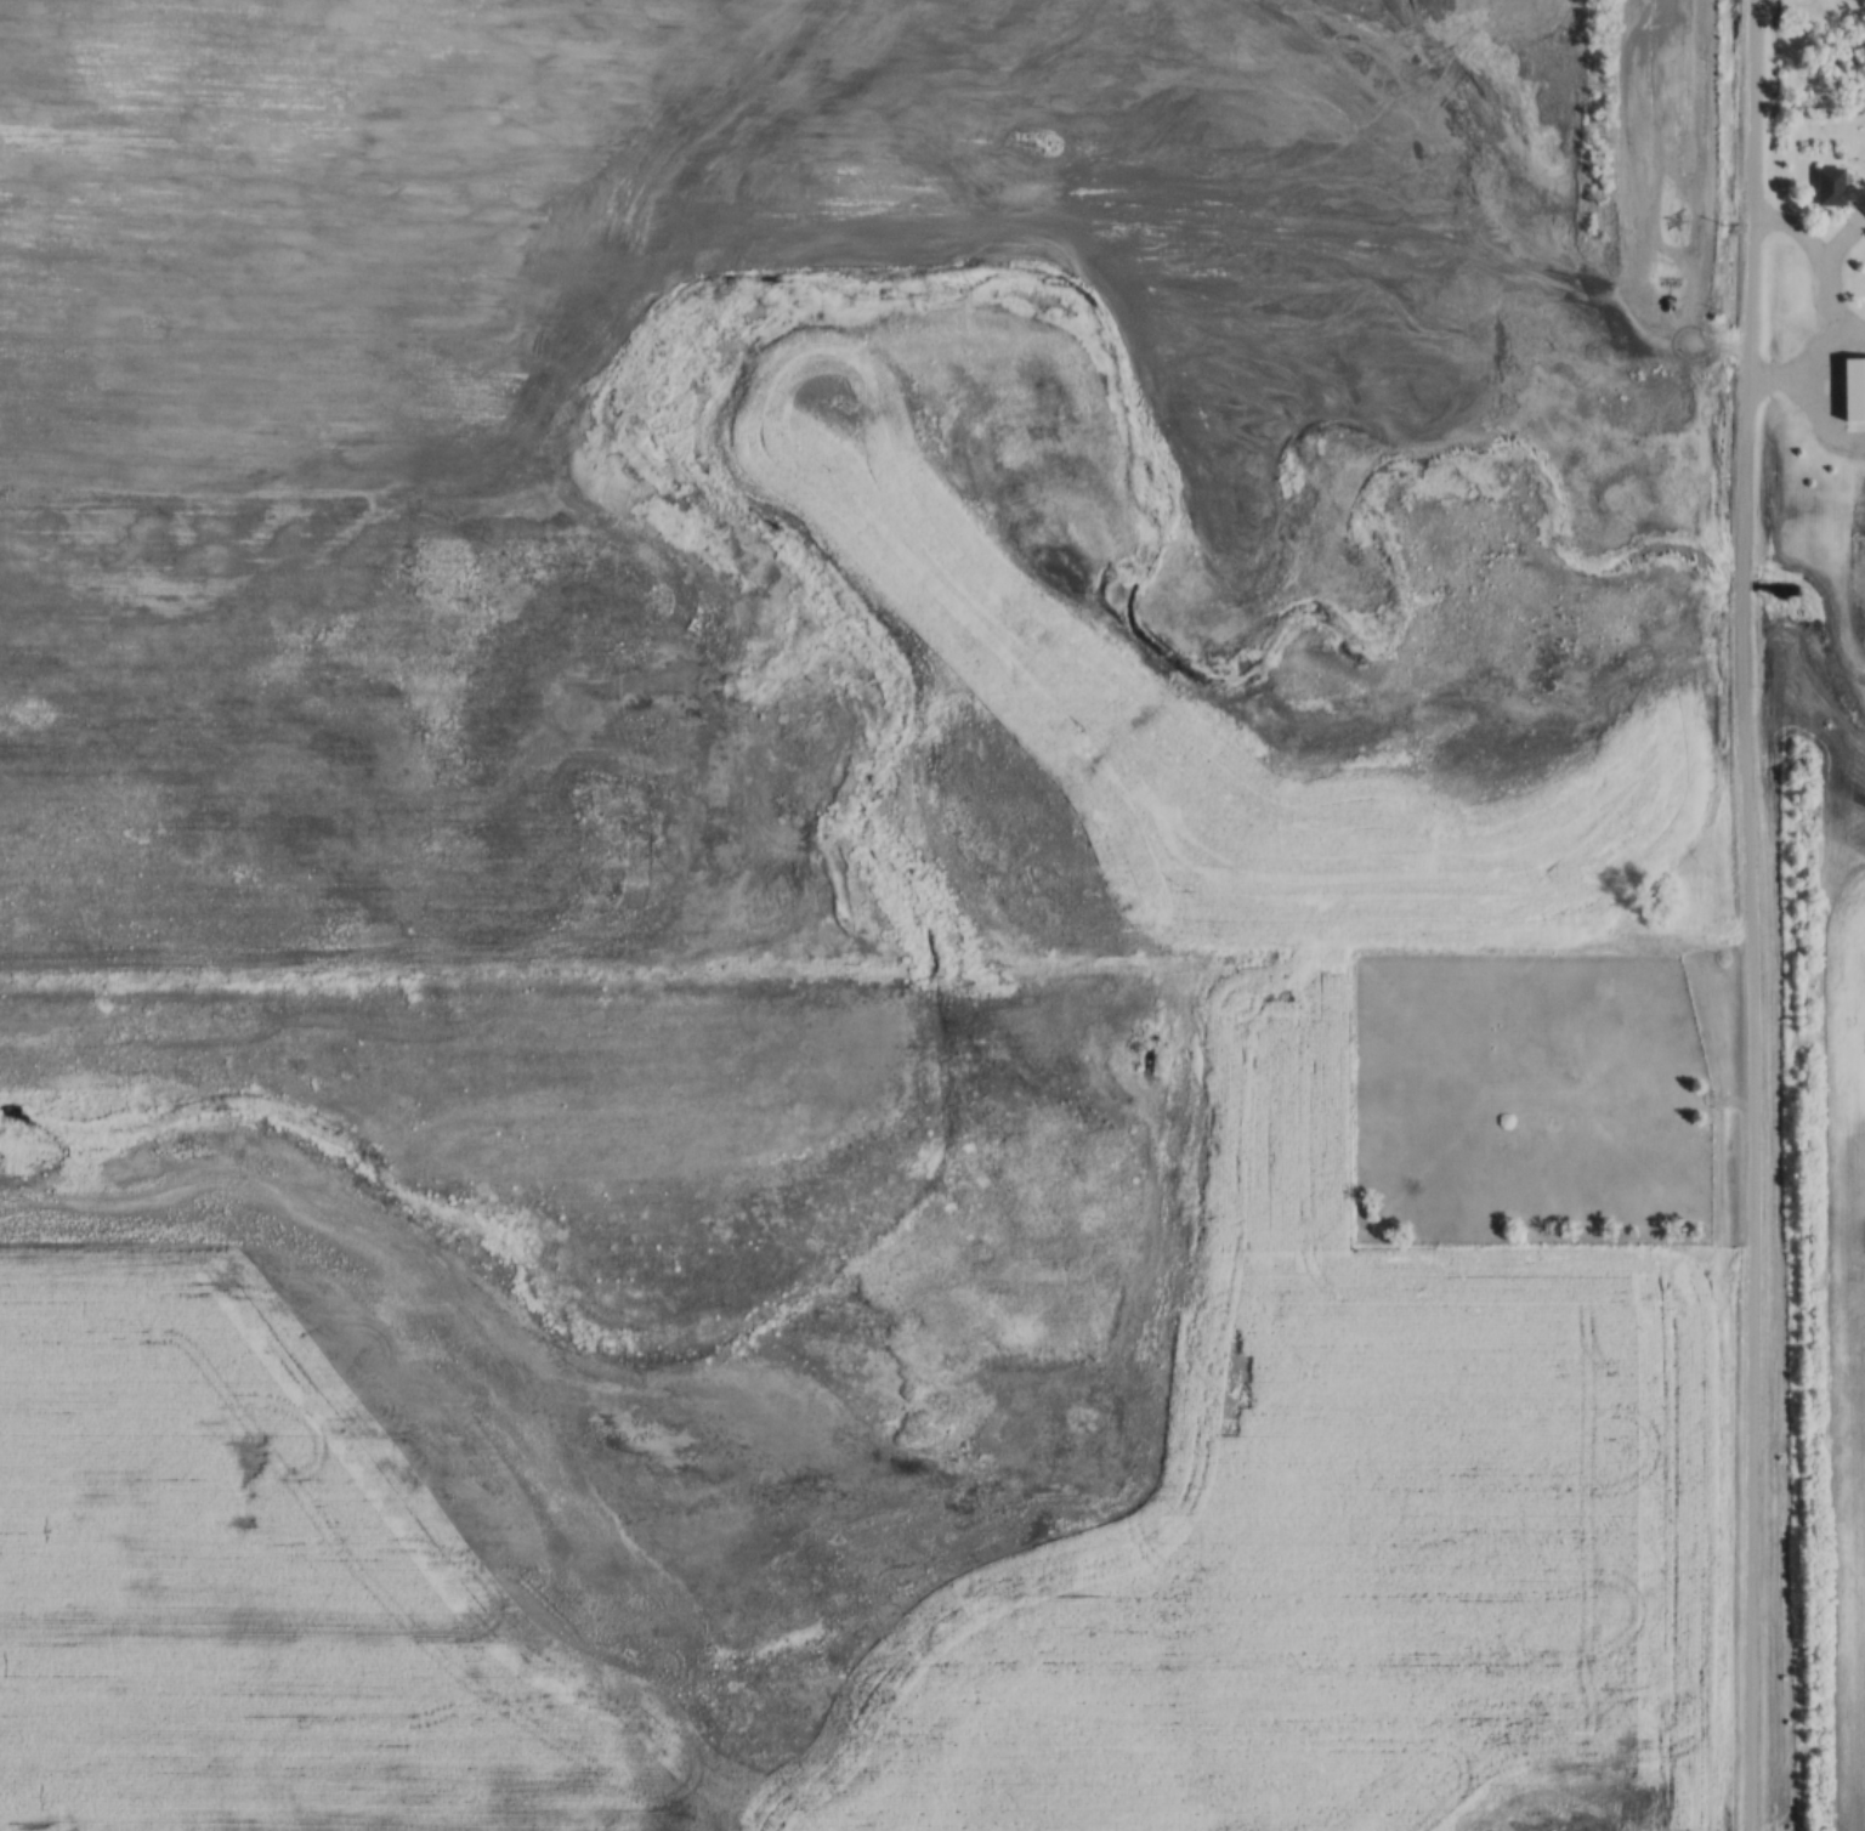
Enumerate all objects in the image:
building: (1833, 189)
road: (1830, 311)
building: (1852, 390)
storage tank: (1831, 403)
road: (1756, 914)

